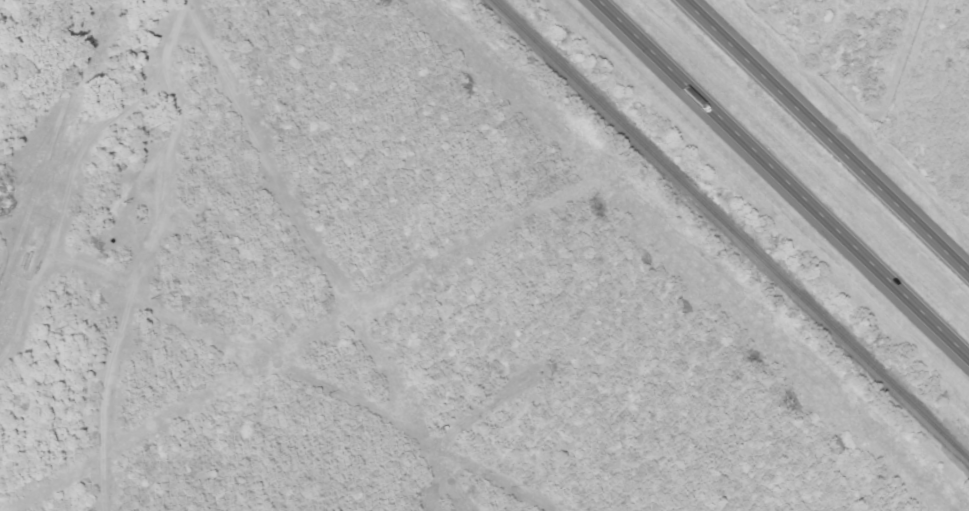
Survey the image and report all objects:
road: (825, 137)
road: (782, 180)
railway: (729, 231)

